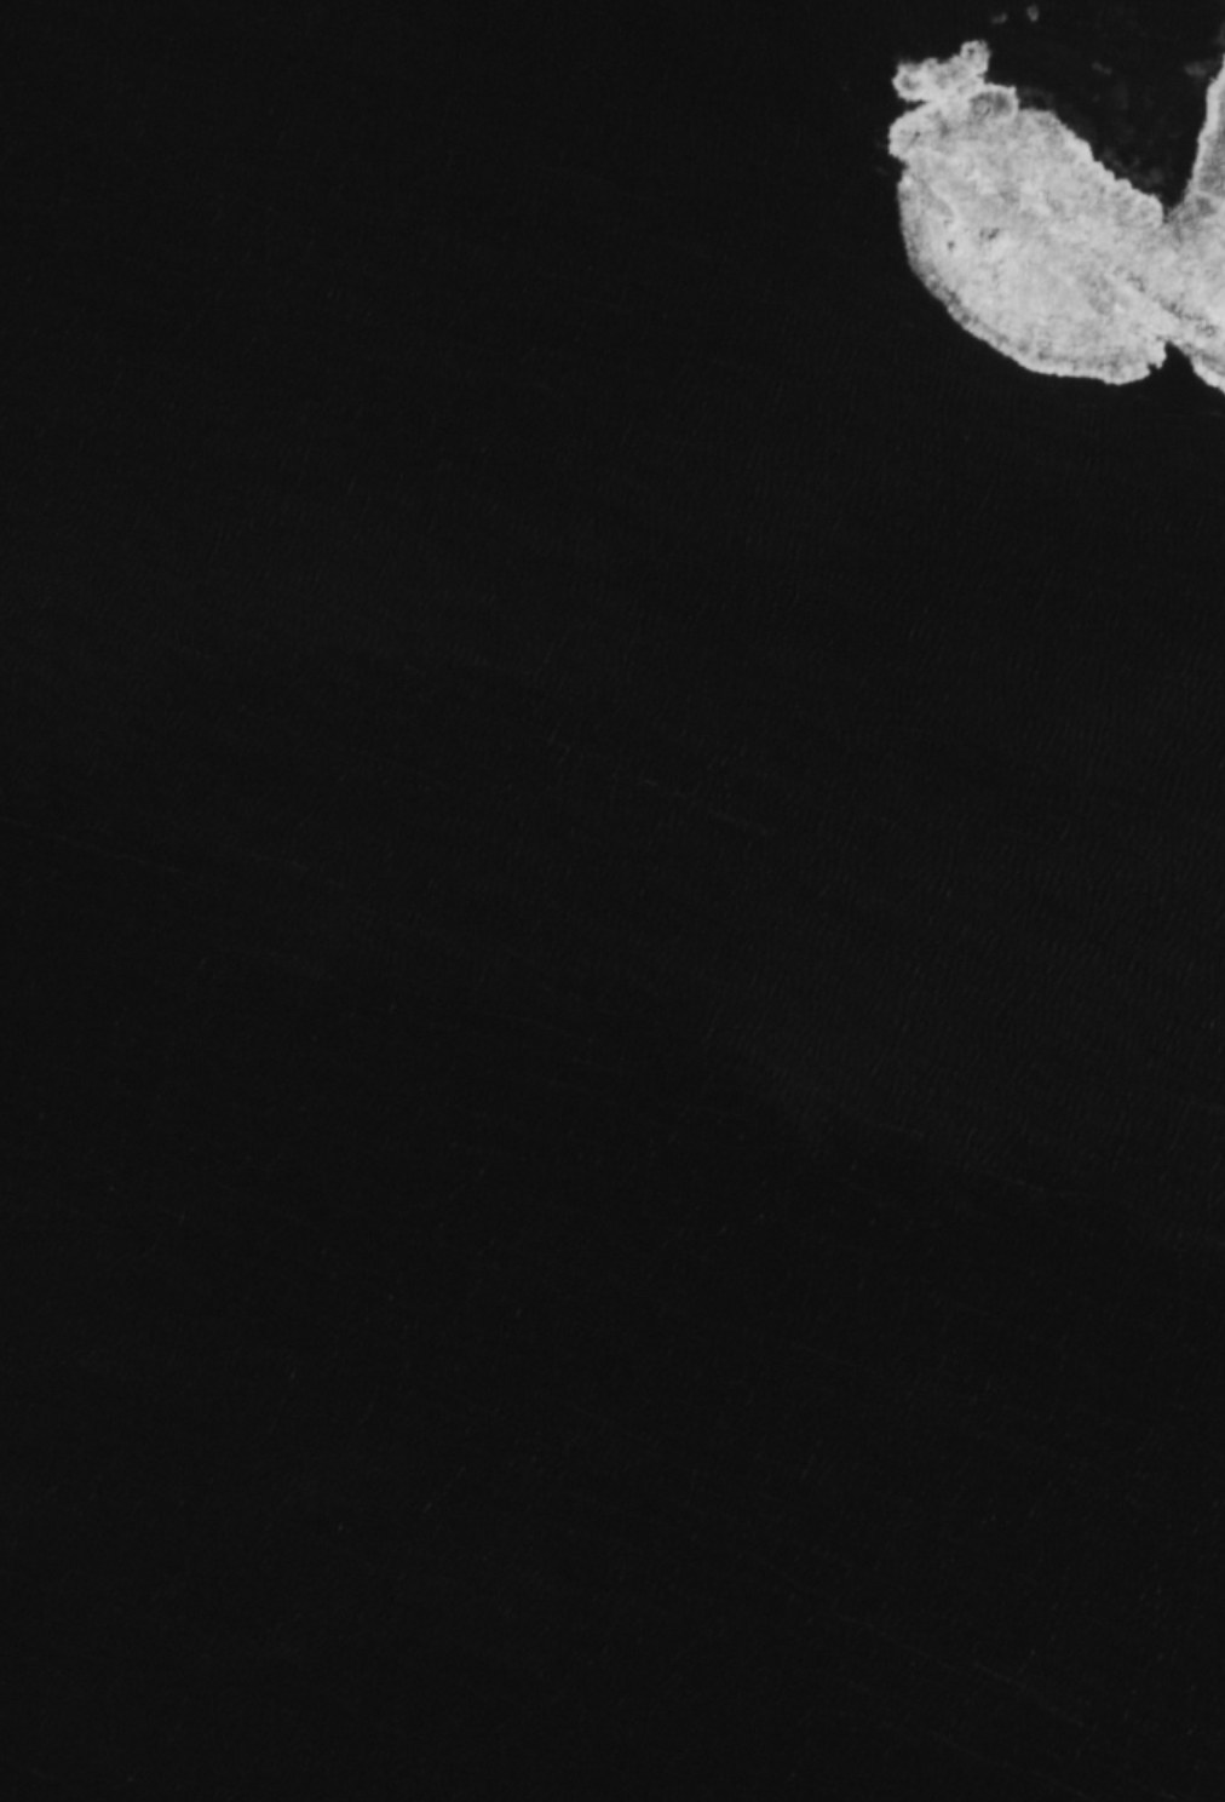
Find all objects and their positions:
road: (991, 202)

